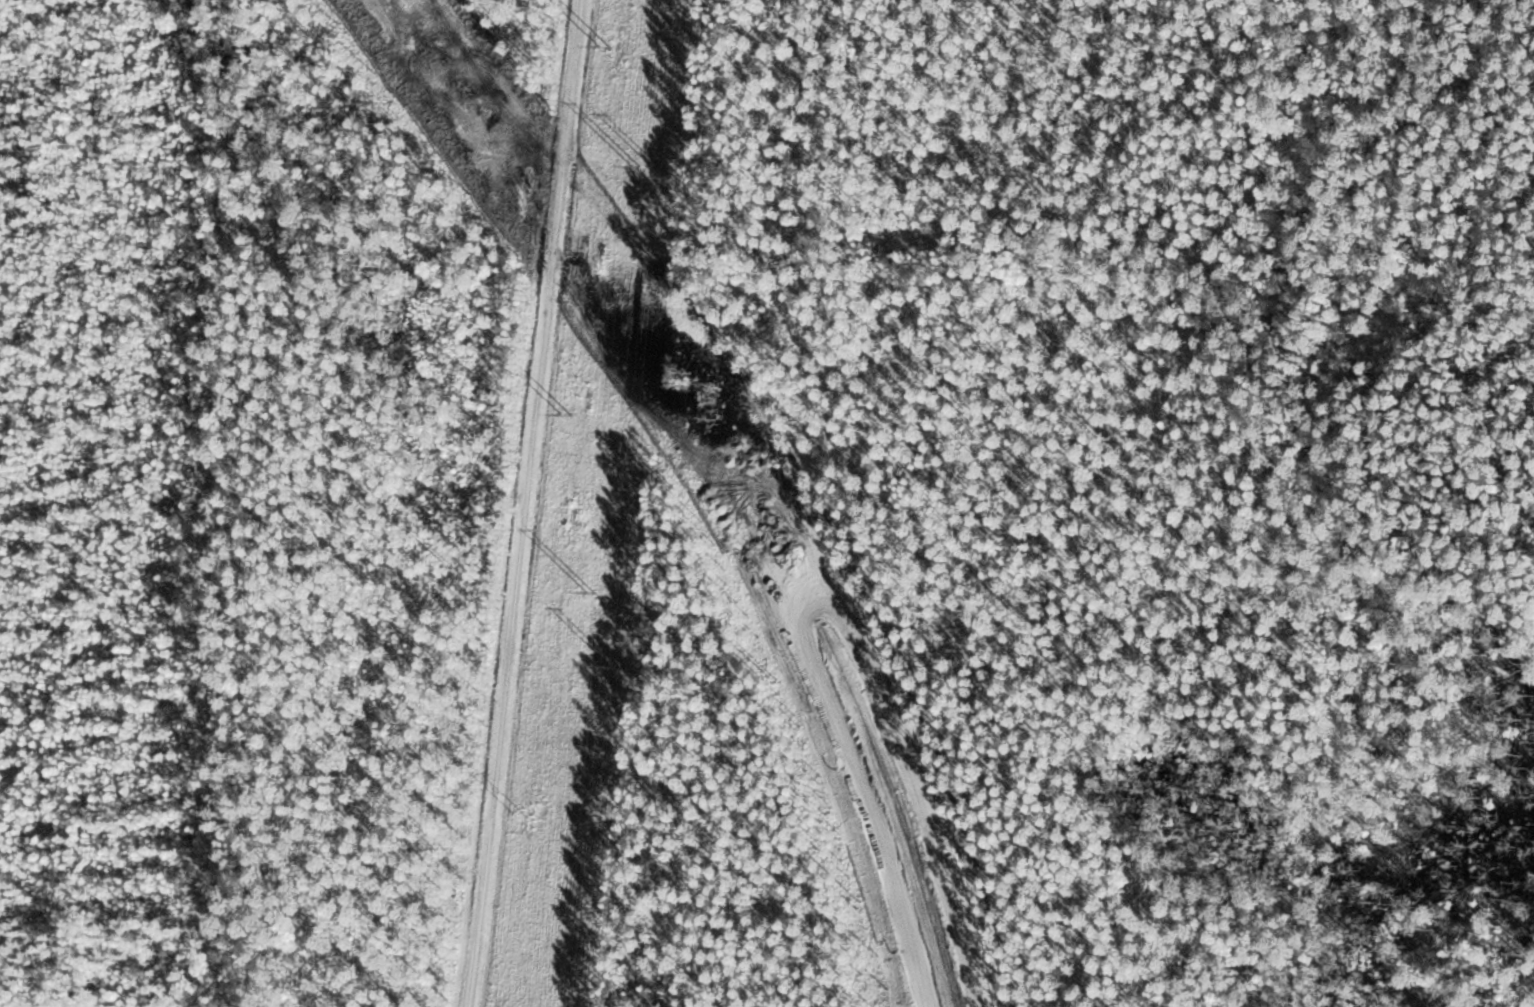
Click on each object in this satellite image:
power tower: (604, 37)
power tower: (664, 195)
power tower: (628, 236)
power tower: (563, 434)
power tower: (615, 665)
power tower: (582, 672)
power tower: (521, 818)

